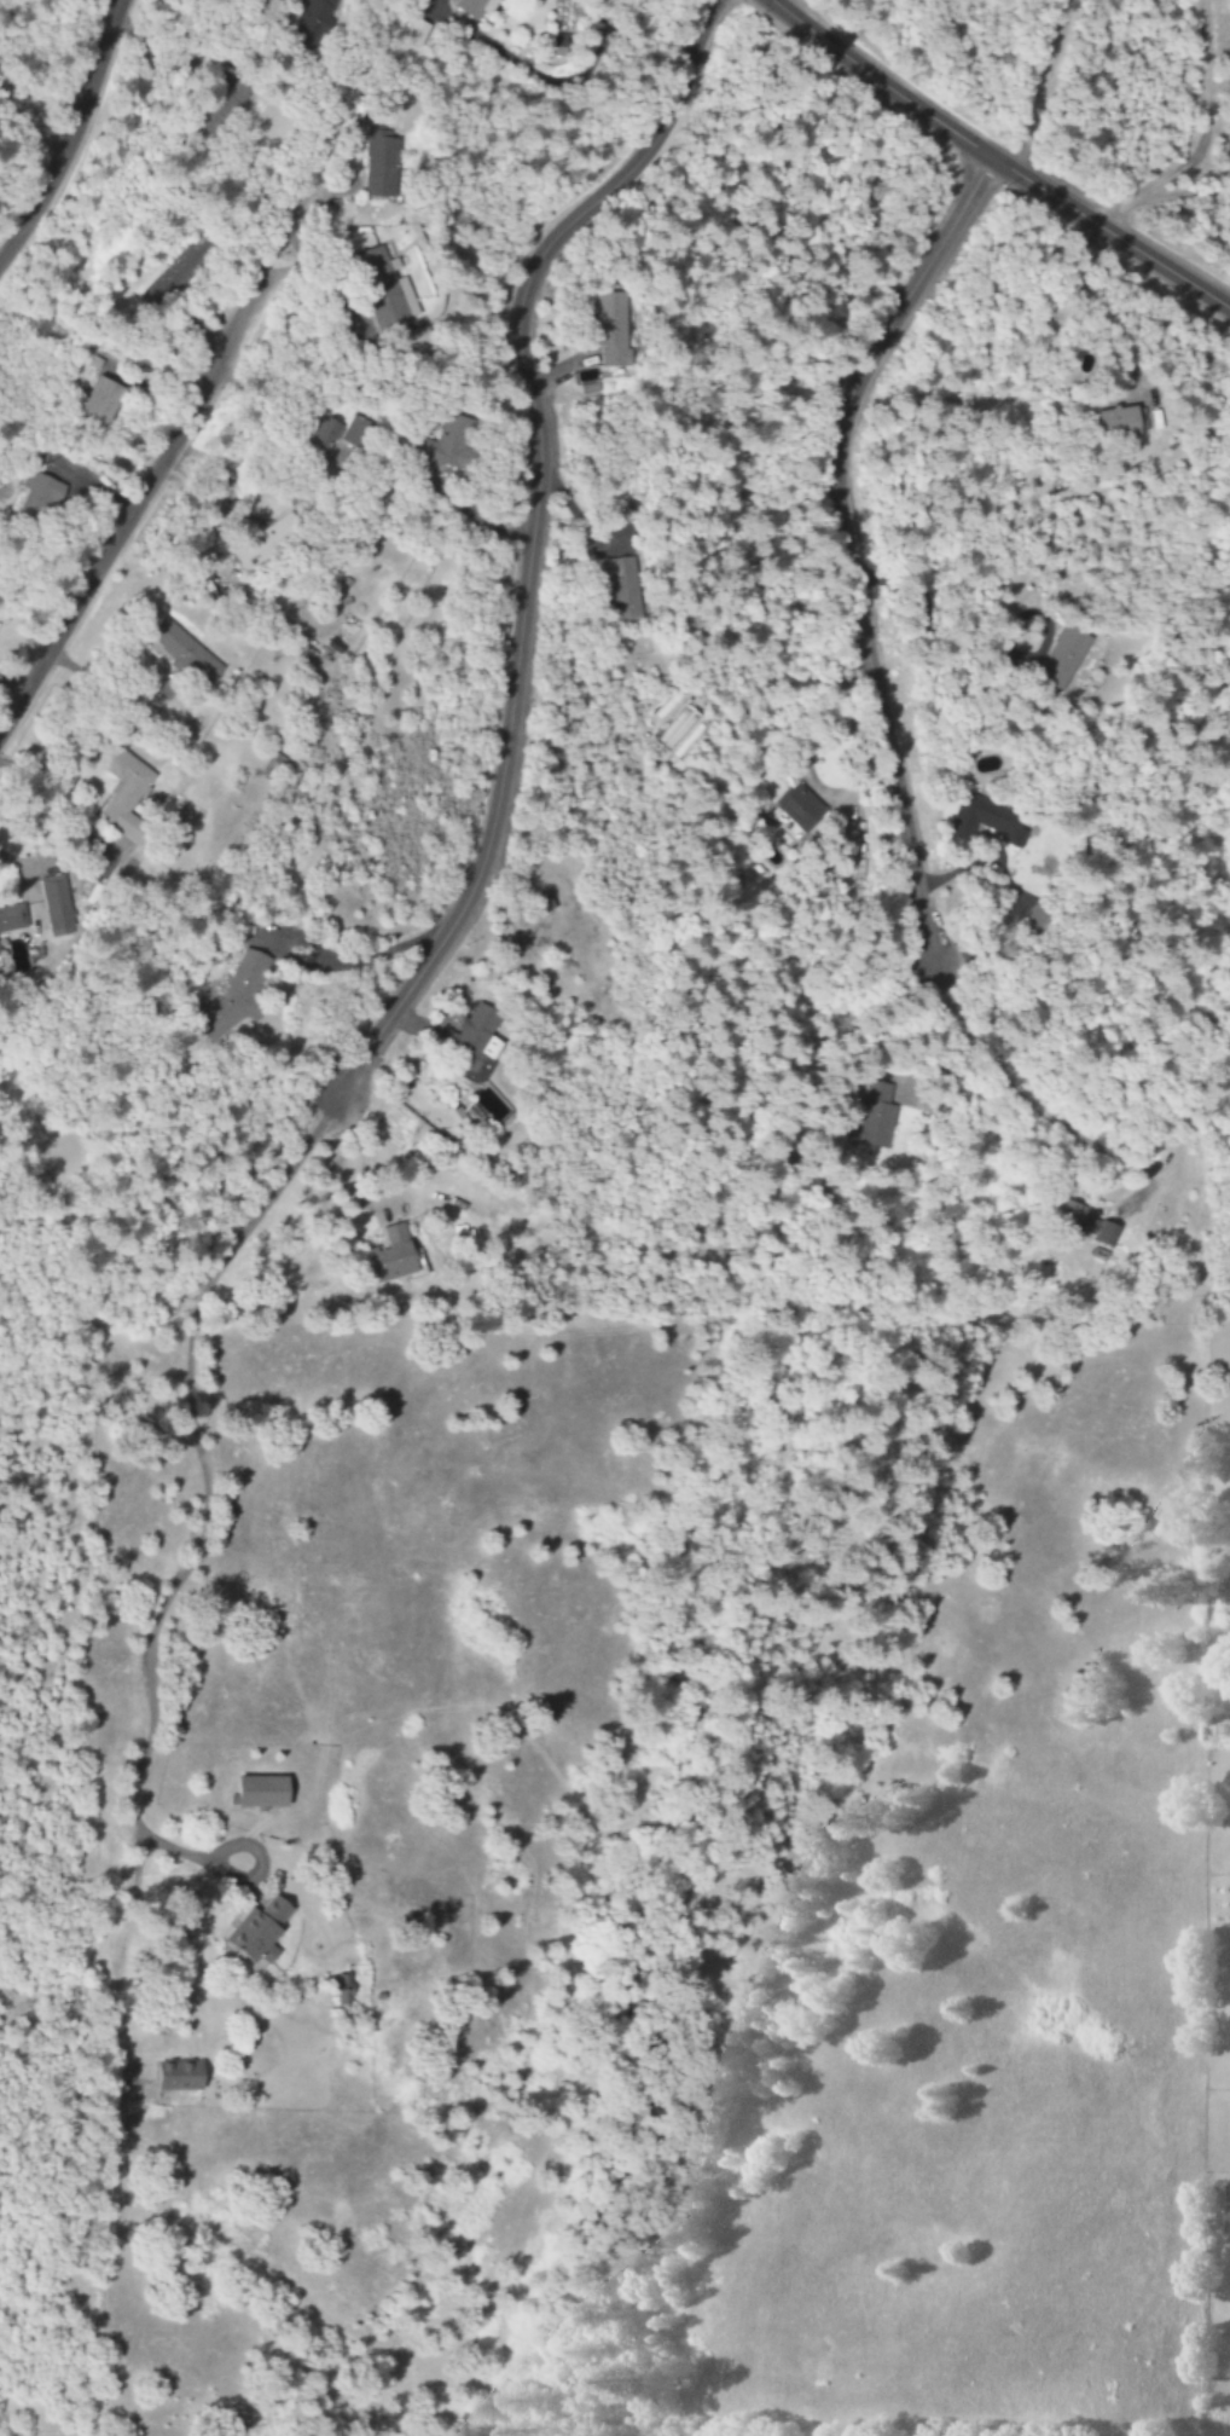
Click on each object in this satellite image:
building: (314, 24)
building: (416, 34)
road: (538, 75)
building: (236, 93)
road: (27, 123)
road: (68, 133)
building: (379, 146)
road: (994, 161)
road: (7, 237)
building: (184, 265)
building: (385, 288)
building: (423, 340)
building: (608, 341)
building: (101, 399)
building: (1120, 422)
building: (355, 430)
building: (323, 433)
building: (442, 442)
building: (36, 497)
road: (133, 509)
road: (530, 534)
building: (267, 542)
road: (839, 546)
building: (622, 588)
building: (185, 652)
building: (1063, 656)
building: (126, 795)
building: (796, 812)
building: (845, 844)
building: (56, 903)
building: (539, 905)
building: (12, 919)
building: (238, 993)
building: (468, 1036)
building: (875, 1117)
building: (1086, 1222)
building: (391, 1256)
road: (202, 1504)
building: (262, 1793)
building: (262, 1931)
building: (342, 1991)
building: (180, 2078)

